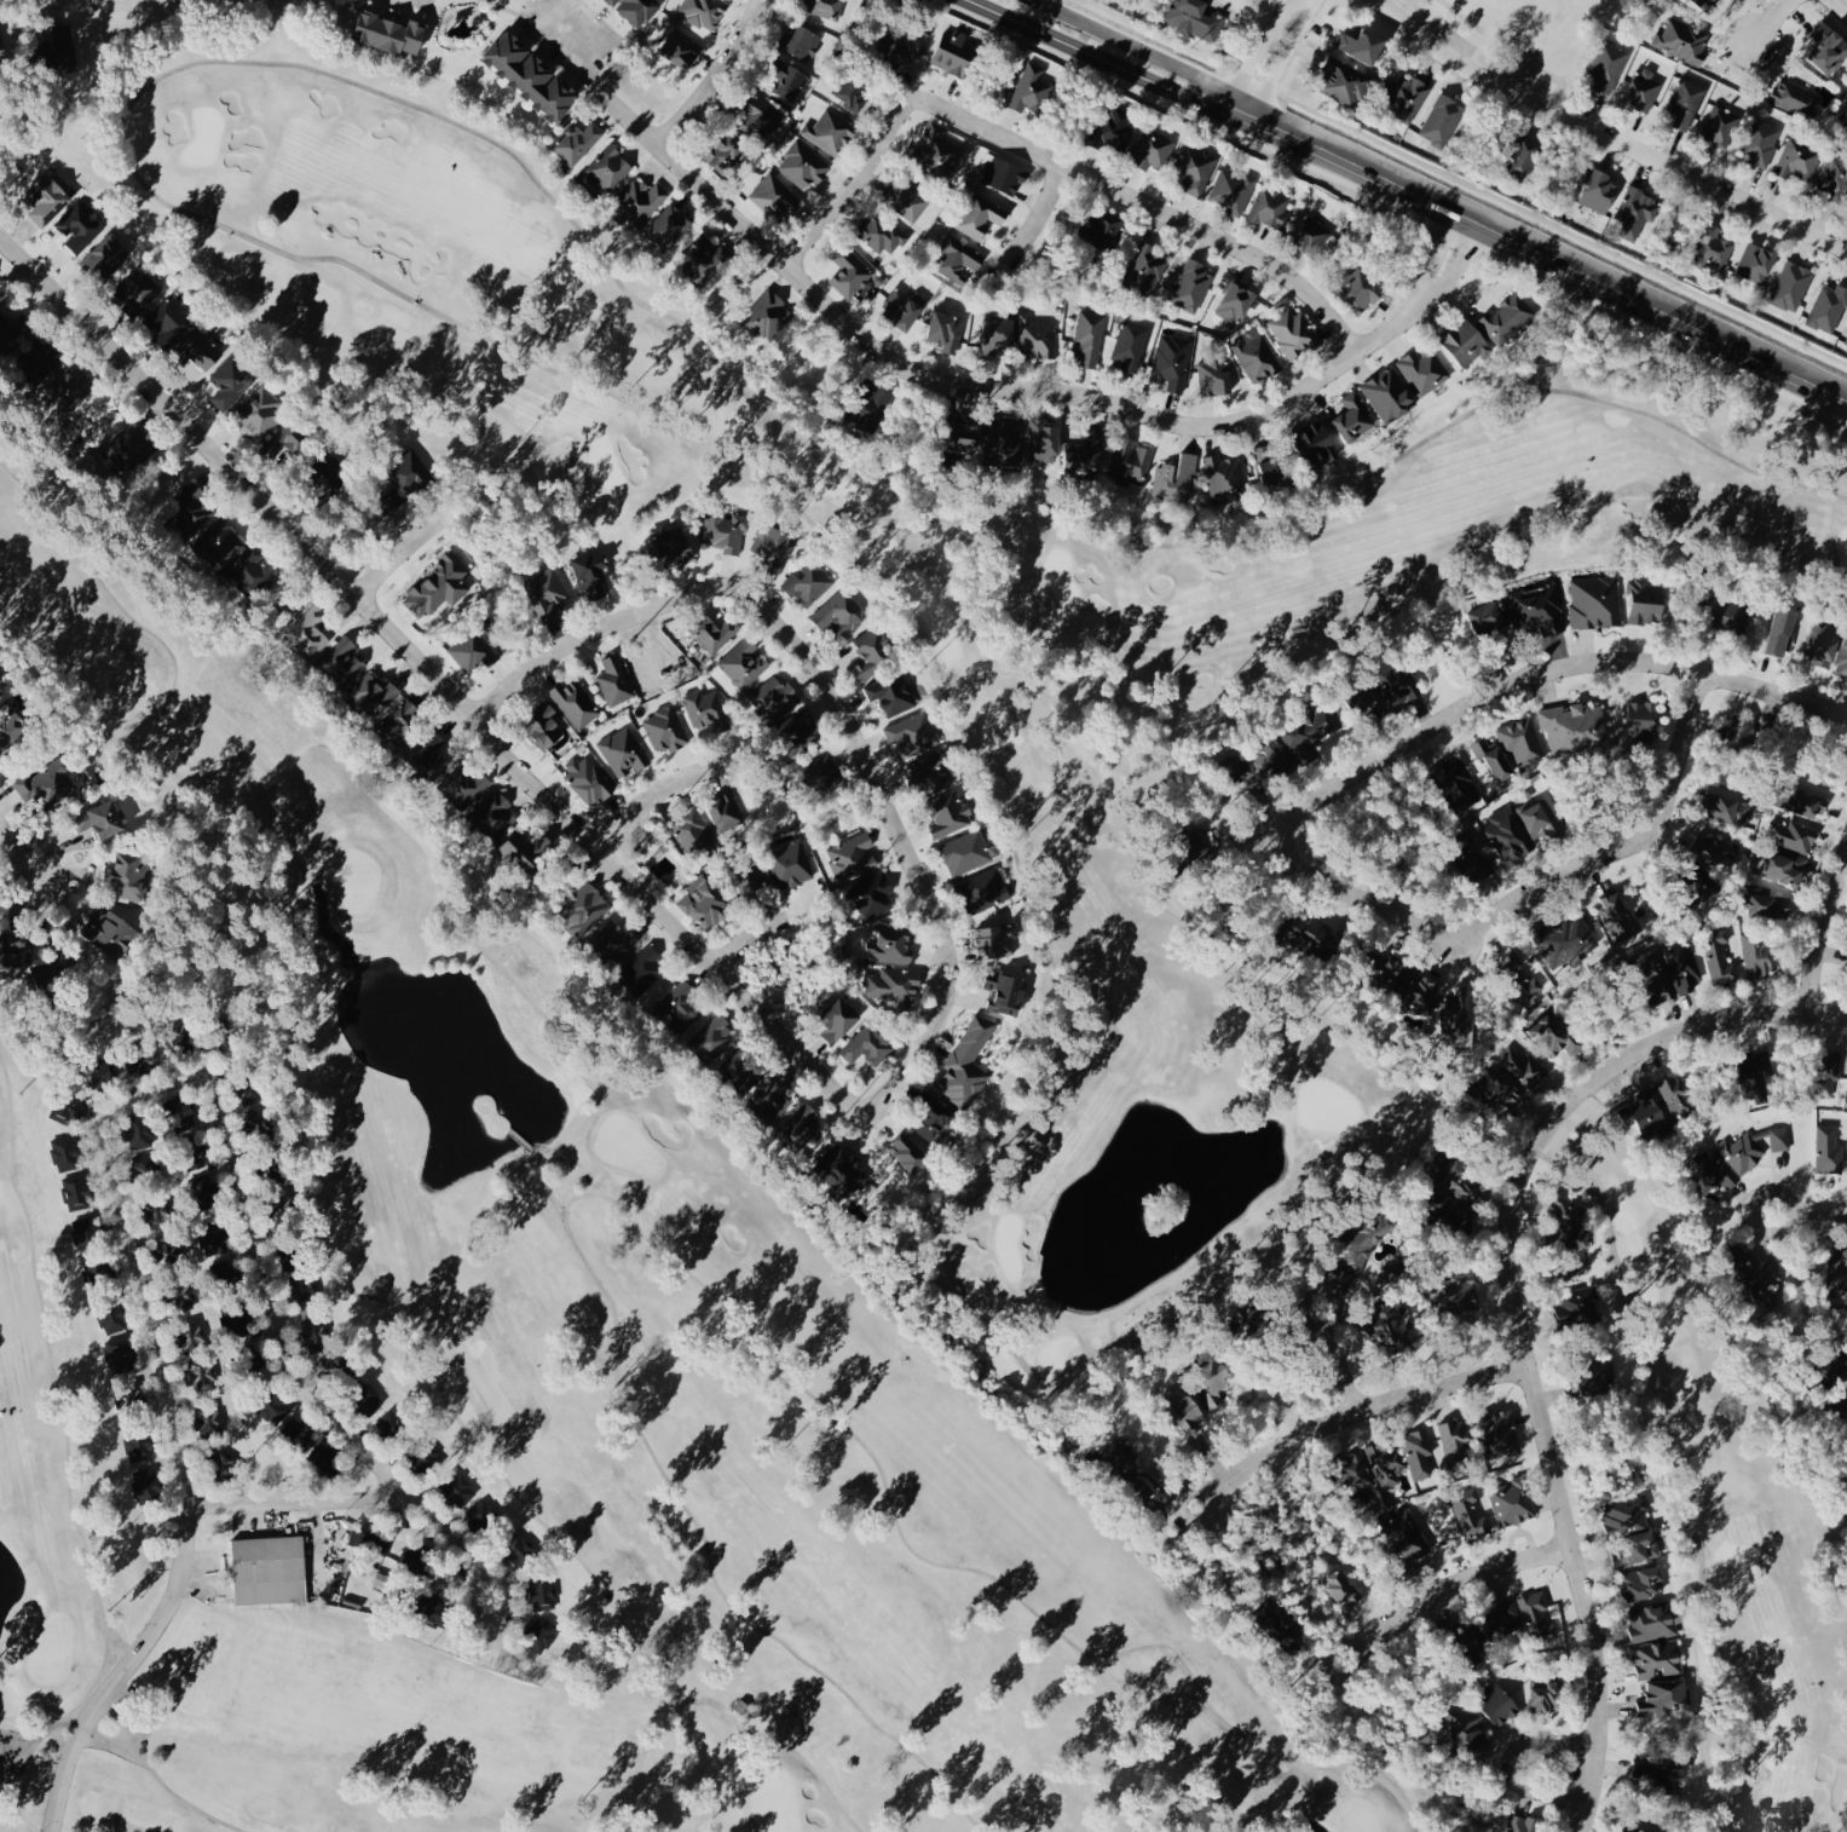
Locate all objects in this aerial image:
building: (1705, 2)
road: (1301, 4)
building: (825, 7)
road: (1839, 7)
building: (637, 10)
building: (1195, 18)
road: (1771, 19)
park: (1523, 25)
building: (392, 31)
road: (562, 31)
building: (2, 39)
building: (801, 40)
building: (1682, 41)
building: (60, 45)
building: (1364, 45)
building: (896, 47)
building: (1829, 47)
building: (681, 48)
building: (954, 52)
road: (1253, 56)
road: (1159, 59)
road: (1277, 67)
building: (1608, 67)
road: (1122, 70)
building: (532, 74)
road: (714, 76)
building: (789, 80)
building: (1345, 82)
building: (1031, 88)
building: (1644, 88)
building: (853, 90)
building: (1407, 97)
building: (1796, 98)
building: (1686, 102)
building: (762, 116)
building: (1443, 120)
building: (1721, 126)
building: (1113, 128)
building: (831, 132)
road: (1604, 137)
building: (577, 142)
building: (1761, 142)
building: (1152, 146)
building: (940, 150)
building: (722, 152)
building: (1526, 154)
building: (1797, 159)
road: (1055, 162)
building: (803, 165)
building: (1195, 167)
building: (606, 168)
building: (1005, 174)
building: (1834, 179)
building: (1233, 190)
building: (1600, 190)
building: (772, 196)
building: (47, 198)
building: (906, 198)
building: (640, 201)
road: (1044, 202)
building: (1269, 206)
building: (1635, 212)
building: (981, 217)
building: (80, 226)
building: (669, 226)
building: (1102, 229)
building: (882, 234)
building: (1310, 234)
building: (1712, 249)
building: (108, 255)
building: (703, 258)
building: (958, 259)
building: (1756, 261)
road: (1565, 264)
building: (1144, 267)
building: (849, 271)
building: (1191, 286)
building: (1790, 286)
building: (1361, 288)
building: (137, 290)
building: (1234, 304)
building: (904, 306)
building: (1828, 307)
building: (766, 313)
building: (1507, 317)
building: (171, 319)
building: (16, 329)
building: (946, 329)
building: (1293, 333)
building: (998, 335)
building: (1037, 336)
building: (1090, 336)
building: (1466, 341)
building: (1846, 341)
building: (1131, 344)
building: (201, 350)
building: (41, 356)
building: (1257, 357)
building: (1172, 361)
building: (1424, 370)
building: (1214, 375)
building: (231, 381)
building: (71, 387)
road: (1026, 390)
building: (1390, 394)
building: (873, 407)
building: (259, 413)
building: (1355, 416)
building: (1043, 438)
building: (284, 439)
building: (1003, 439)
building: (1318, 444)
building: (129, 447)
building: (965, 449)
building: (1085, 455)
building: (1129, 462)
building: (1274, 465)
building: (331, 474)
building: (408, 477)
building: (1176, 478)
building: (1225, 478)
building: (189, 512)
building: (726, 529)
building: (221, 541)
building: (673, 545)
building: (773, 545)
road: (409, 547)
building: (250, 571)
building: (590, 574)
building: (809, 582)
building: (437, 586)
building: (548, 592)
building: (1594, 601)
building: (1647, 601)
building: (1537, 610)
building: (839, 612)
building: (1728, 612)
building: (1487, 617)
building: (1783, 630)
building: (308, 633)
building: (715, 634)
building: (1824, 644)
building: (473, 652)
building: (873, 652)
building: (344, 659)
road: (437, 662)
building: (744, 662)
building: (1842, 662)
building: (614, 681)
building: (1396, 685)
road: (1772, 686)
building: (375, 693)
building: (893, 693)
building: (772, 699)
road: (852, 699)
road: (1478, 701)
building: (1370, 702)
building: (575, 703)
building: (705, 710)
building: (1643, 715)
building: (402, 721)
building: (544, 727)
building: (1575, 727)
building: (13, 728)
building: (665, 730)
building: (798, 731)
building: (1311, 731)
building: (1743, 731)
building: (913, 733)
building: (1522, 741)
building: (624, 751)
park: (1086, 751)
building: (1271, 759)
building: (1495, 760)
building: (816, 772)
building: (931, 774)
building: (589, 780)
building: (48, 783)
building: (1459, 783)
building: (464, 787)
road: (639, 791)
building: (1803, 802)
building: (1728, 808)
building: (726, 812)
building: (948, 813)
building: (494, 814)
building: (102, 819)
building: (1540, 820)
building: (691, 833)
building: (1507, 833)
building: (1791, 835)
road: (17, 849)
building: (1712, 849)
building: (525, 851)
building: (968, 852)
building: (850, 857)
building: (790, 863)
building: (1477, 866)
building: (1782, 866)
building: (129, 876)
road: (1537, 886)
building: (1704, 887)
building: (982, 891)
building: (870, 894)
building: (704, 903)
building: (1767, 903)
building: (584, 910)
building: (1618, 916)
building: (109, 931)
road: (745, 933)
road: (1820, 933)
building: (1310, 934)
building: (16, 939)
building: (1566, 939)
building: (613, 940)
building: (995, 940)
building: (890, 944)
building: (1759, 956)
building: (1719, 957)
building: (11, 966)
building: (1684, 968)
building: (642, 970)
building: (1846, 972)
building: (1520, 977)
building: (1657, 977)
building: (1407, 983)
building: (894, 985)
building: (1006, 993)
building: (682, 1006)
building: (1456, 1014)
building: (838, 1020)
building: (1554, 1032)
building: (711, 1041)
building: (868, 1044)
building: (139, 1059)
building: (966, 1064)
building: (737, 1067)
building: (1523, 1067)
building: (103, 1072)
building: (1831, 1075)
building: (1755, 1077)
building: (1497, 1091)
building: (773, 1096)
building: (1676, 1096)
building: (67, 1108)
building: (1646, 1112)
building: (180, 1113)
building: (933, 1119)
building: (801, 1128)
building: (138, 1131)
building: (197, 1148)
building: (67, 1153)
building: (908, 1153)
building: (1733, 1159)
building: (148, 1165)
building: (842, 1171)
road: (122, 1187)
building: (206, 1191)
building: (1455, 1191)
building: (77, 1192)
road: (1802, 1202)
building: (157, 1211)
building: (1565, 1216)
building: (86, 1232)
building: (217, 1239)
building: (1363, 1240)
building: (100, 1269)
building: (1392, 1272)
building: (1837, 1273)
building: (300, 1287)
building: (1577, 1303)
building: (1248, 1313)
road: (1519, 1313)
building: (114, 1318)
building: (1392, 1323)
building: (316, 1333)
building: (120, 1353)
building: (195, 1355)
road: (1341, 1360)
building: (1837, 1366)
park: (549, 1369)
building: (1214, 1381)
building: (129, 1396)
building: (368, 1399)
road: (1373, 1404)
building: (273, 1407)
building: (1187, 1412)
building: (208, 1416)
building: (396, 1425)
building: (298, 1431)
building: (1501, 1431)
building: (1455, 1439)
building: (139, 1444)
building: (1419, 1452)
building: (325, 1456)
building: (1119, 1459)
building: (1385, 1462)
building: (224, 1463)
building: (1356, 1469)
building: (146, 1484)
building: (458, 1488)
road: (347, 1498)
building: (1519, 1498)
building: (481, 1515)
building: (1626, 1515)
building: (1406, 1534)
building: (356, 1537)
building: (1634, 1549)
building: (518, 1551)
building: (269, 1569)
building: (1643, 1582)
building: (1337, 1584)
road: (1450, 1585)
building: (542, 1590)
building: (433, 1611)
building: (1502, 1619)
building: (1652, 1621)
building: (1280, 1623)
building: (542, 1635)
building: (1468, 1641)
building: (1657, 1658)
building: (1546, 1693)
building: (1664, 1695)
building: (1499, 1704)
building: (1464, 1732)
building: (1641, 1768)
building: (1674, 1768)
road: (1563, 1774)
building: (1523, 1824)
building: (1633, 1827)

